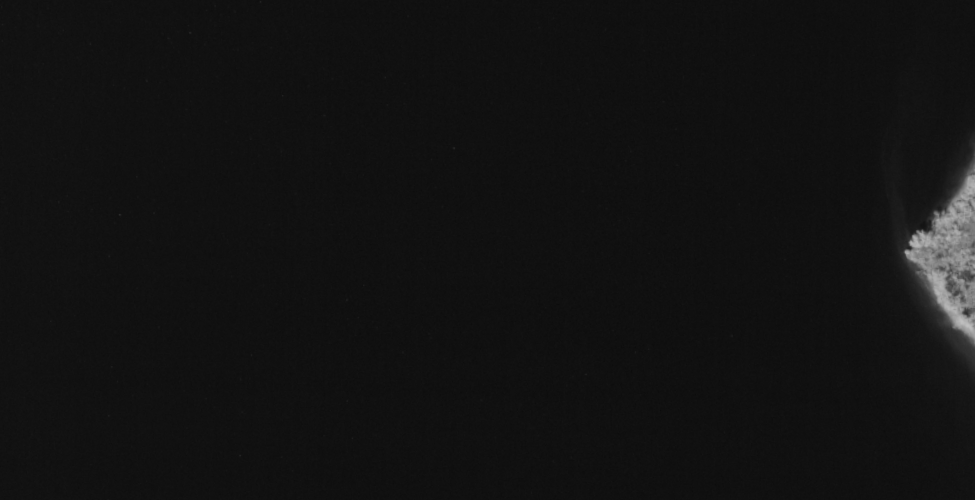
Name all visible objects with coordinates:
park: (950, 247)

